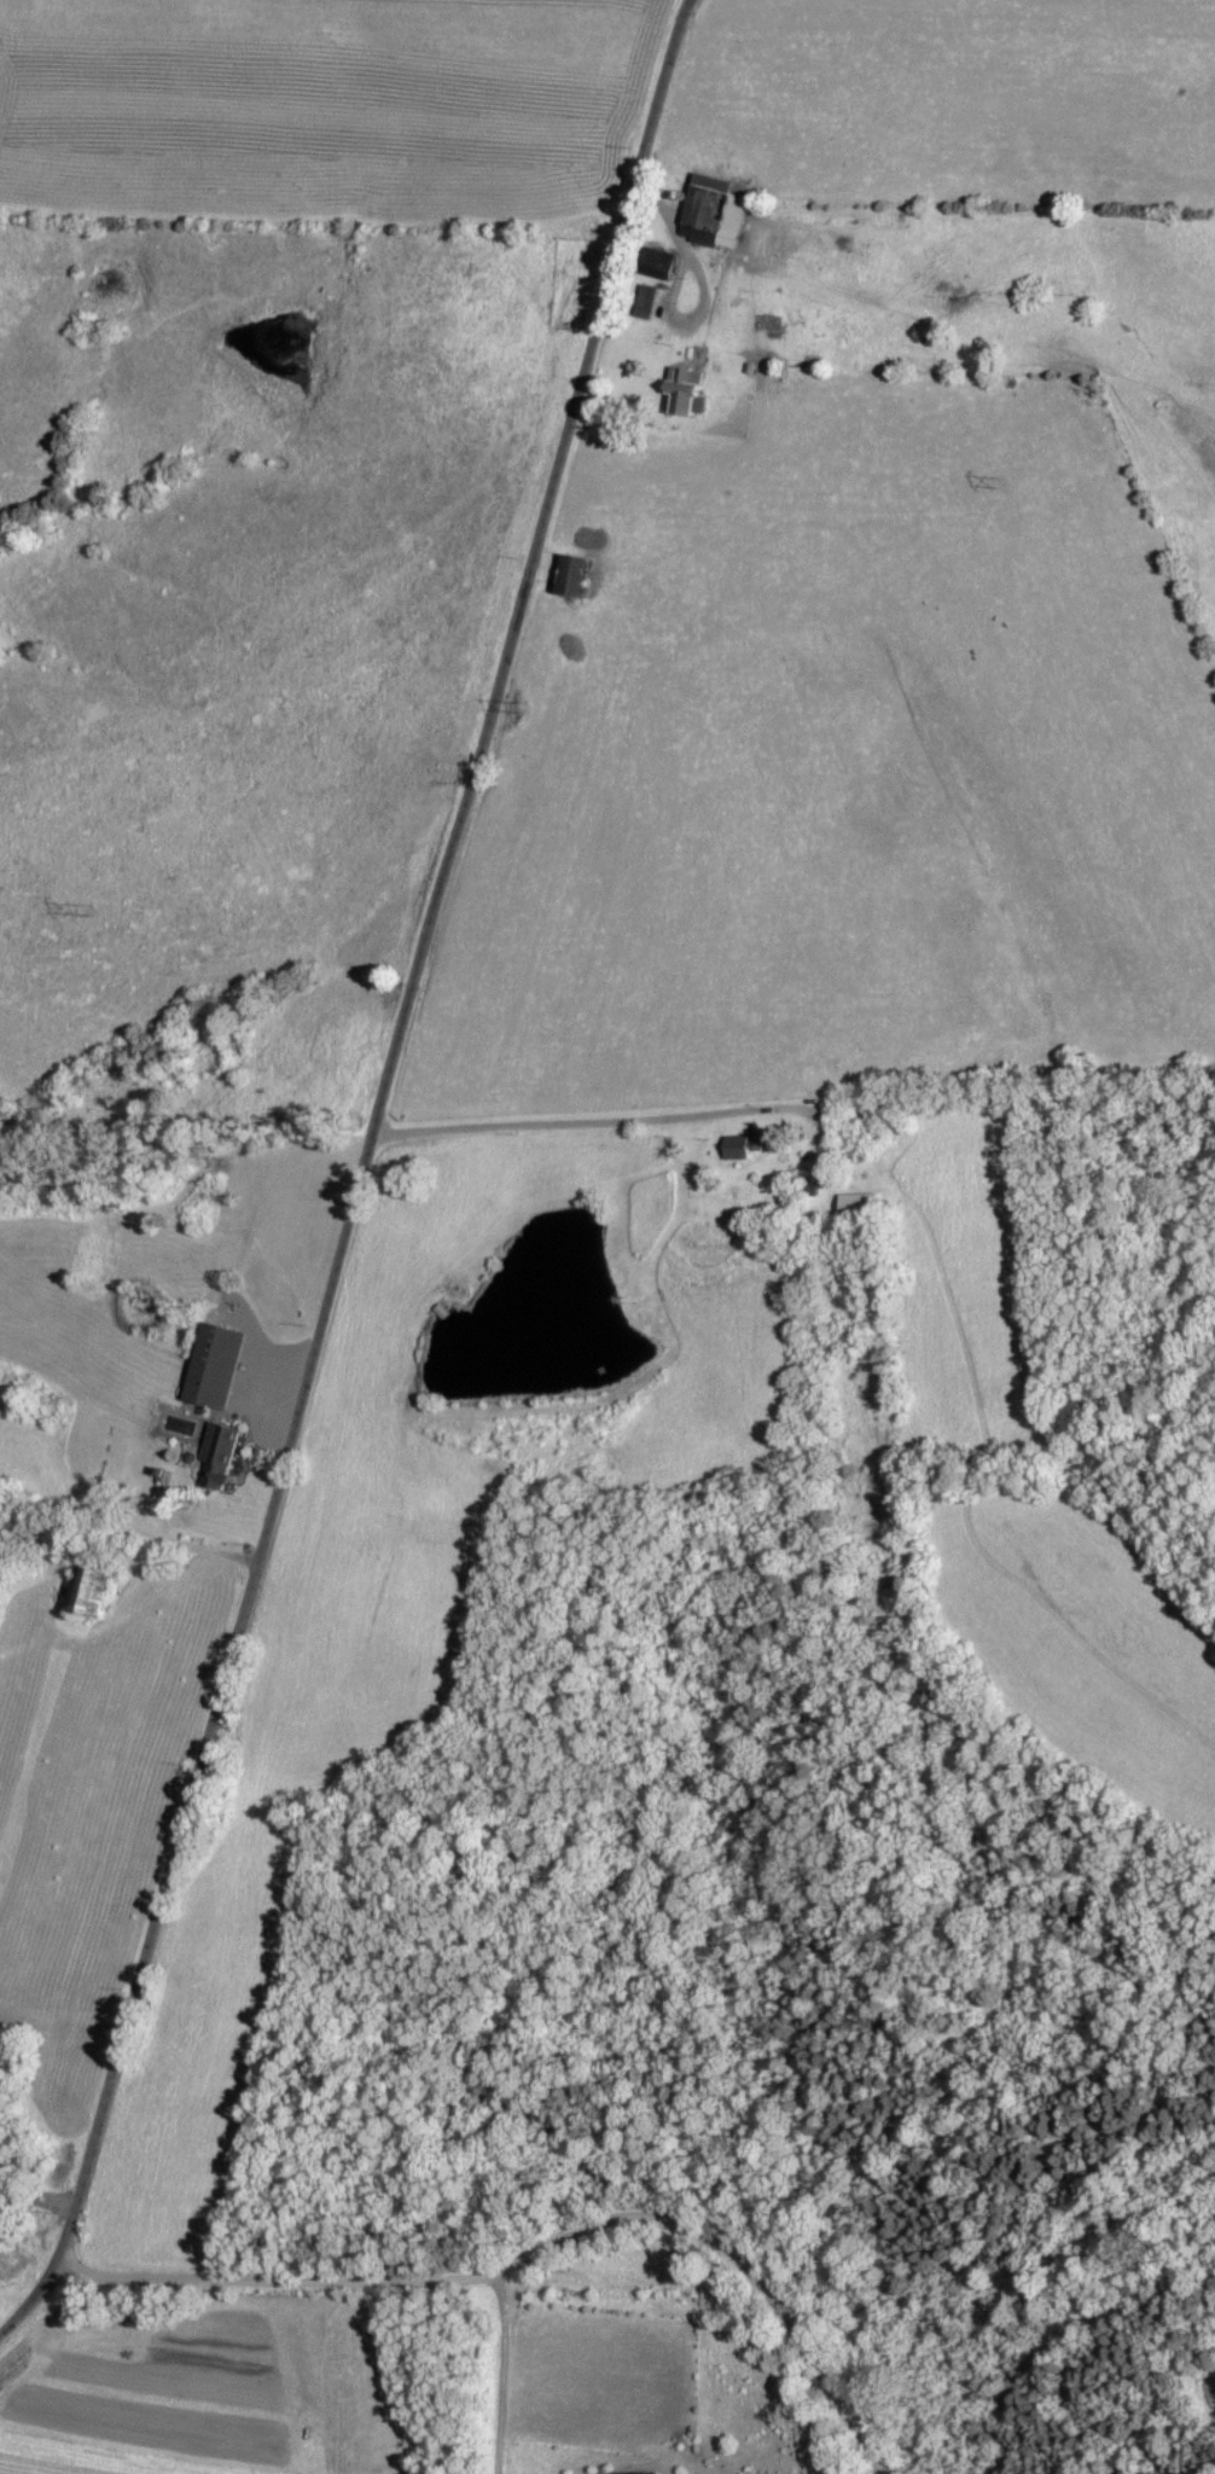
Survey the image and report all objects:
building: (715, 217)
road: (704, 289)
building: (688, 393)
power tower: (1005, 487)
building: (576, 579)
power tower: (517, 708)
power tower: (88, 908)
road: (618, 1125)
building: (737, 1149)
road: (361, 1175)
building: (859, 1203)
building: (215, 1367)
building: (219, 1456)
road: (187, 1551)
building: (97, 1592)
road: (537, 2253)
road: (499, 2373)

